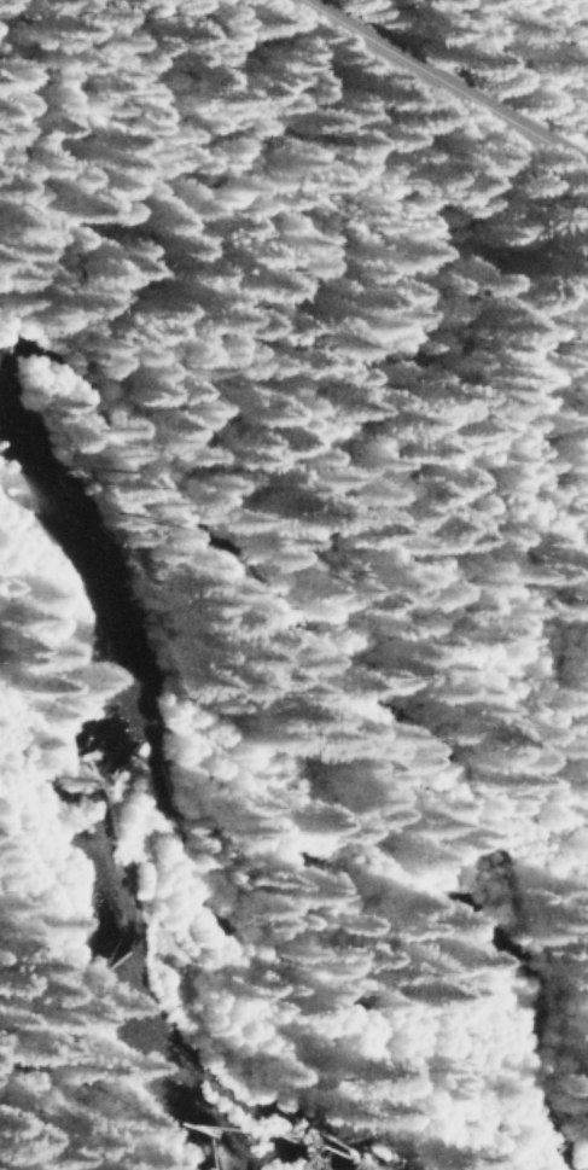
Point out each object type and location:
road: (452, 78)
river: (184, 814)

